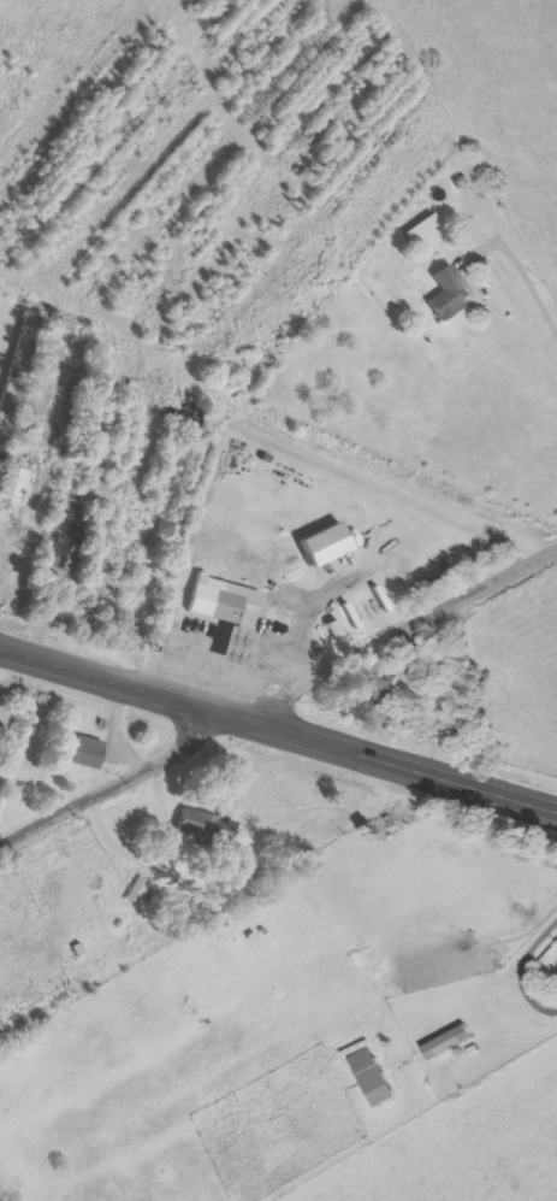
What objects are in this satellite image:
building: (425, 232)
building: (449, 294)
building: (19, 378)
building: (35, 435)
building: (1, 466)
building: (13, 482)
building: (331, 544)
building: (215, 601)
road: (397, 628)
building: (233, 647)
building: (383, 690)
road: (277, 726)
building: (87, 753)
road: (114, 787)
building: (207, 826)
building: (140, 889)
building: (448, 1042)
building: (373, 1077)

